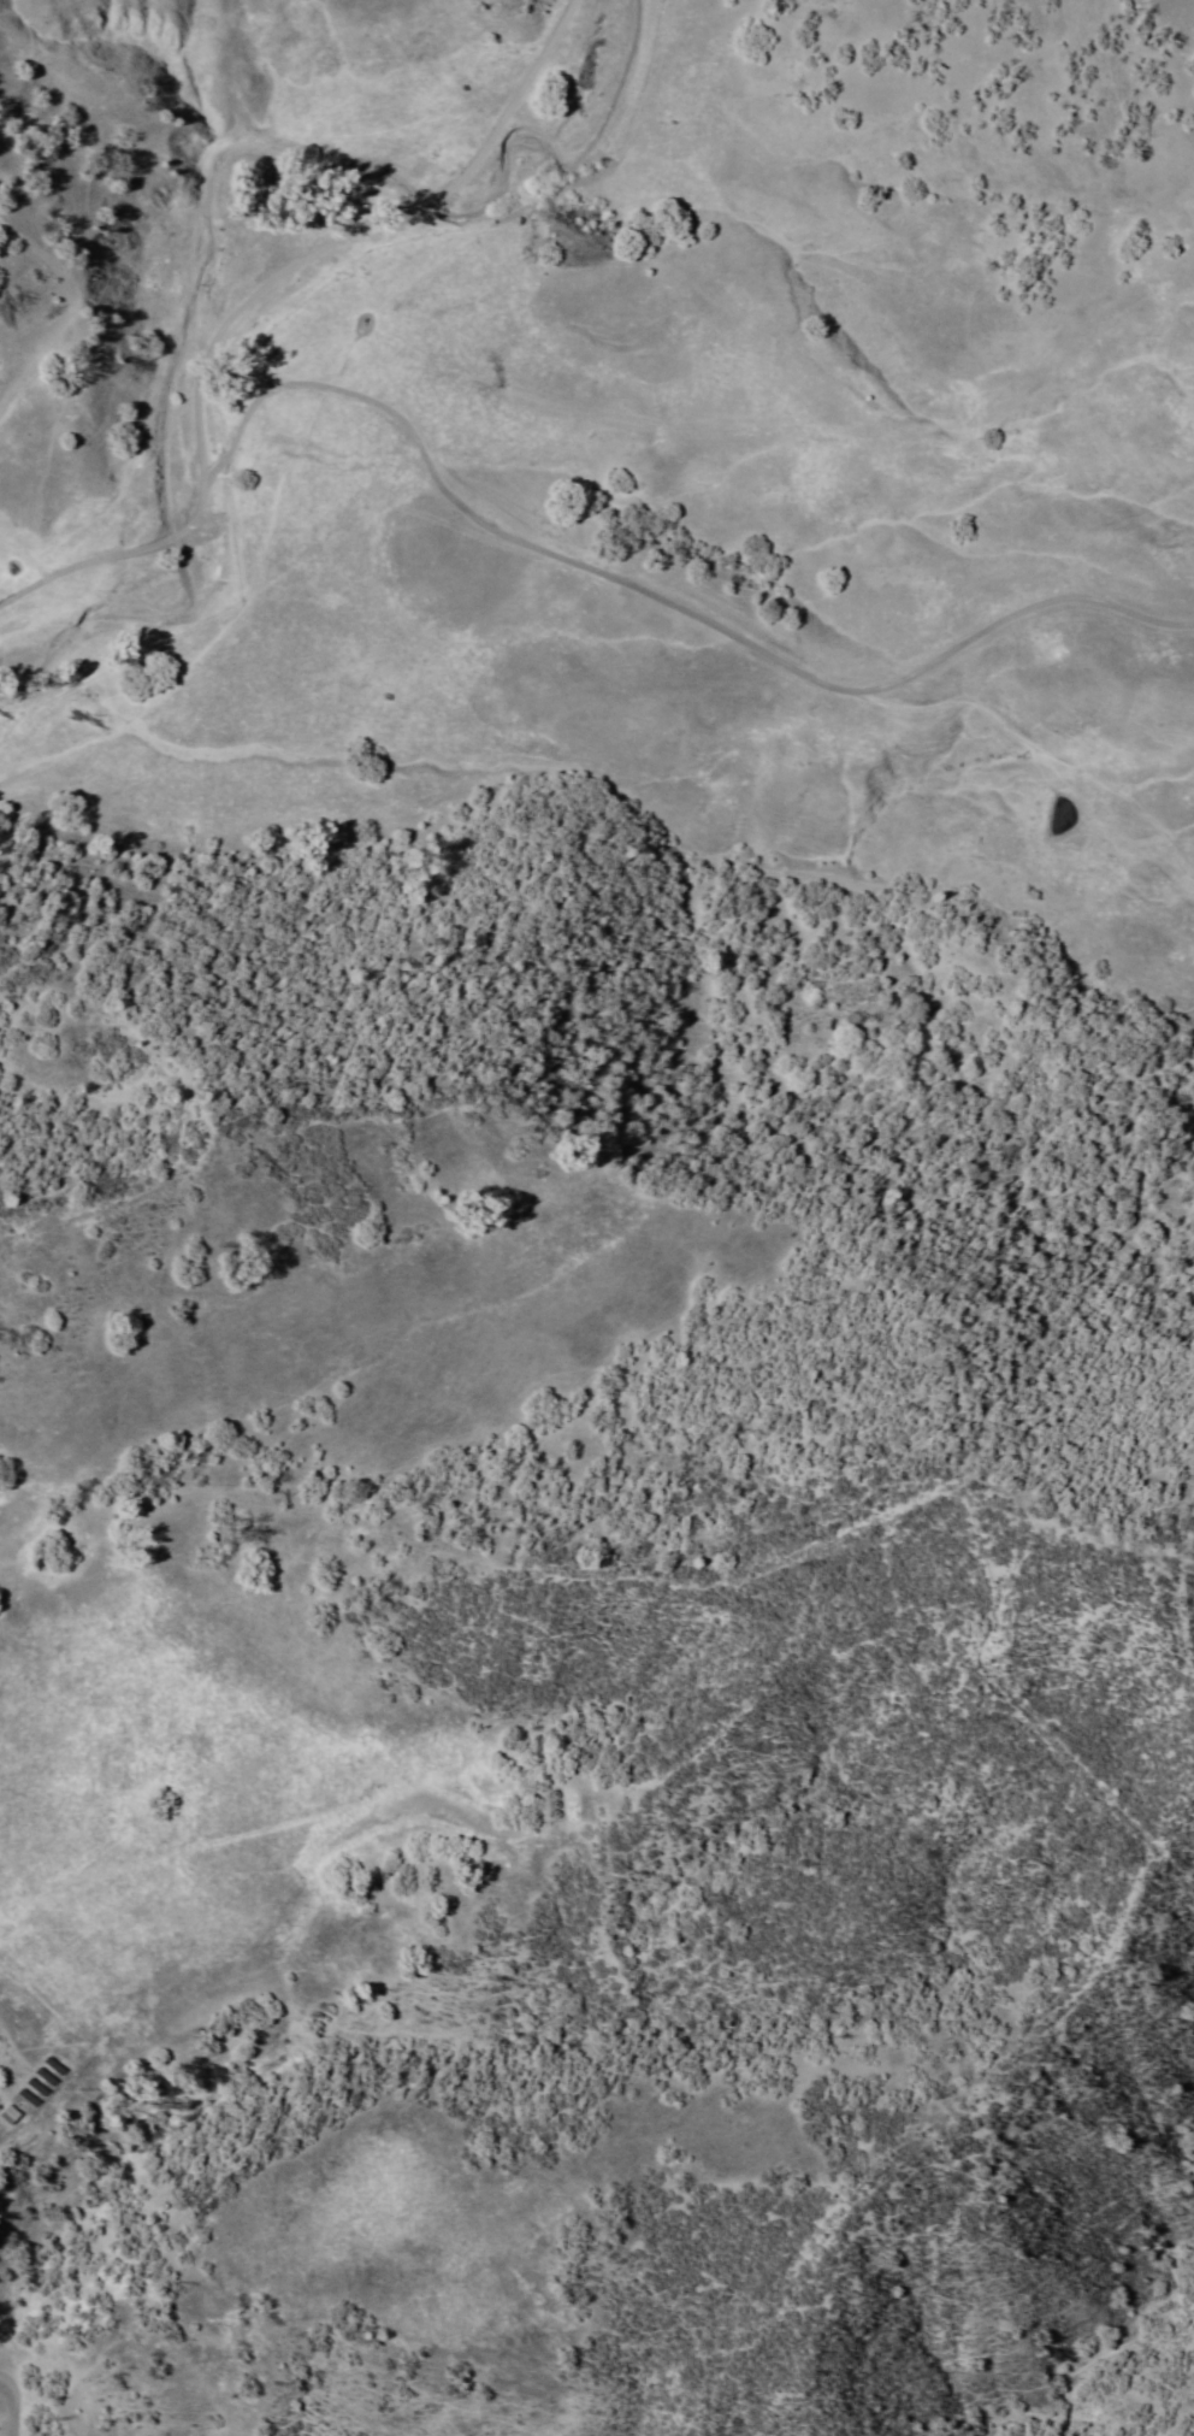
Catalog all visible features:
road: (248, 301)
building: (2, 2110)

